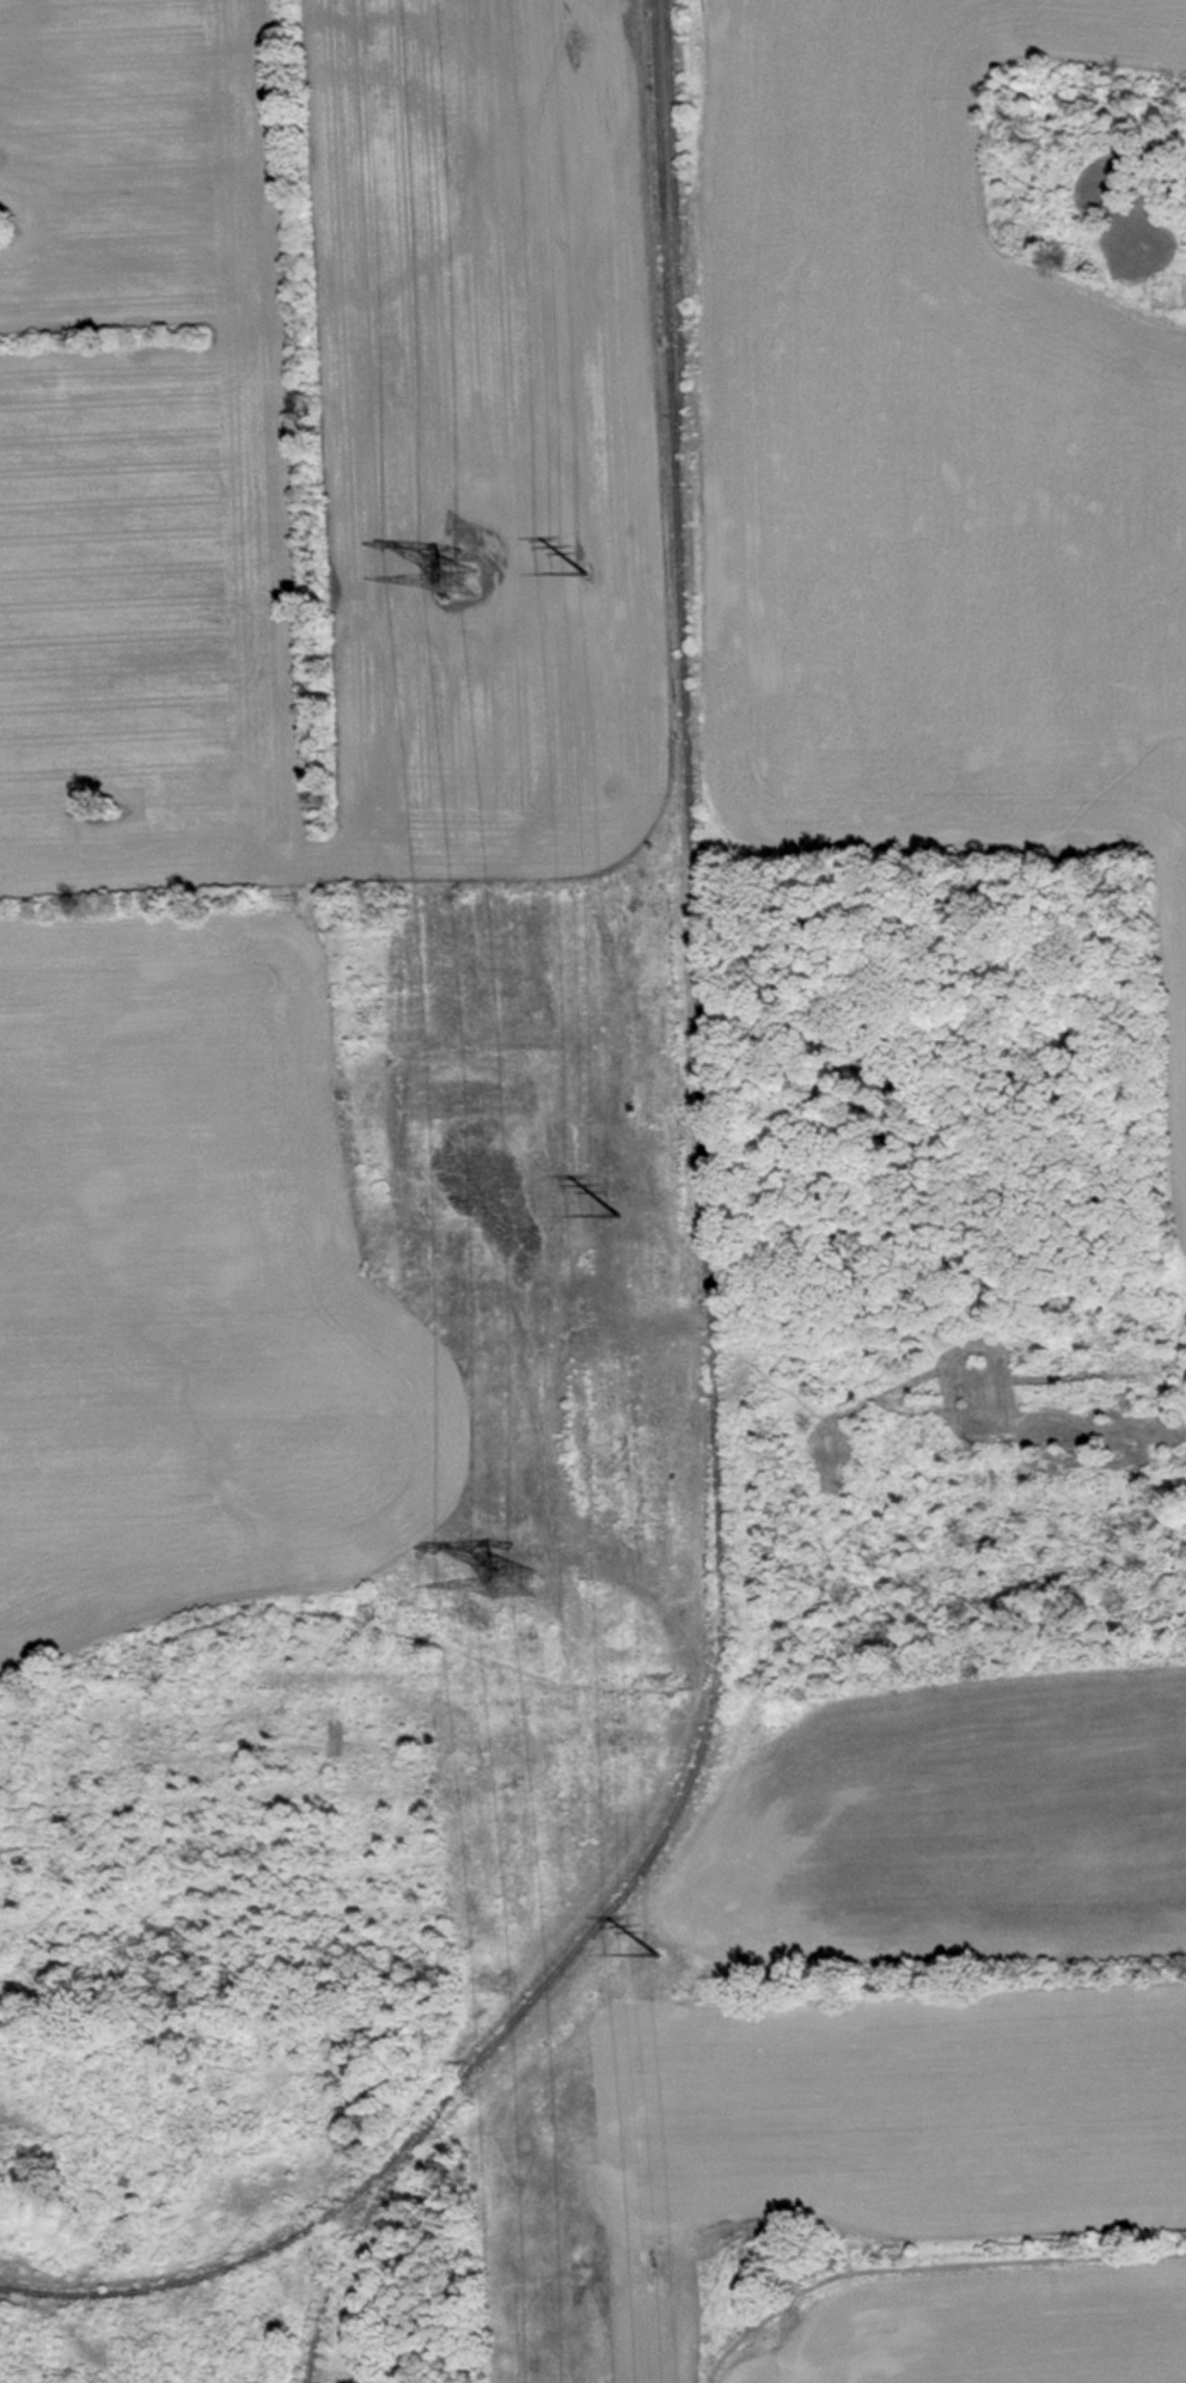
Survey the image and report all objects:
road: (1170, 274)
power tower: (586, 575)
power tower: (454, 582)
railway: (681, 821)
power tower: (617, 1216)
power tower: (511, 1587)
power tower: (654, 1954)
railway: (521, 2016)
railway: (240, 2262)

